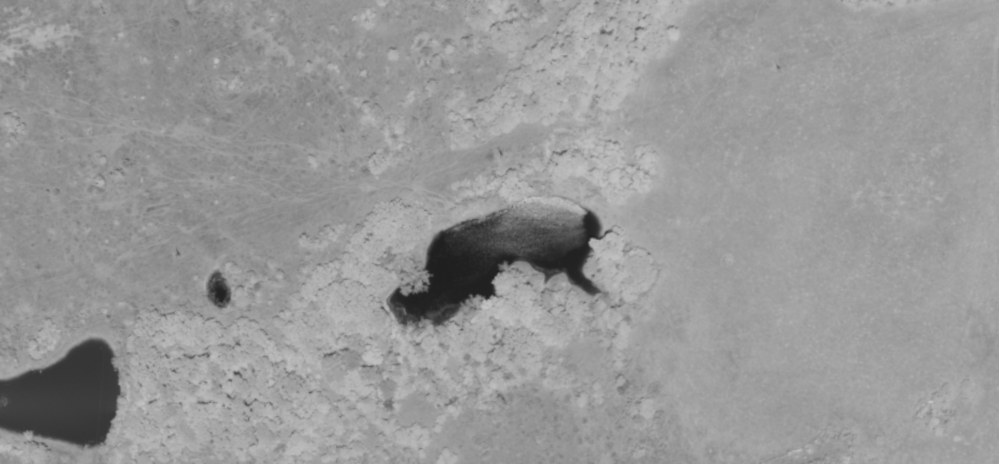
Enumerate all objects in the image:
power tower: (105, 10)

